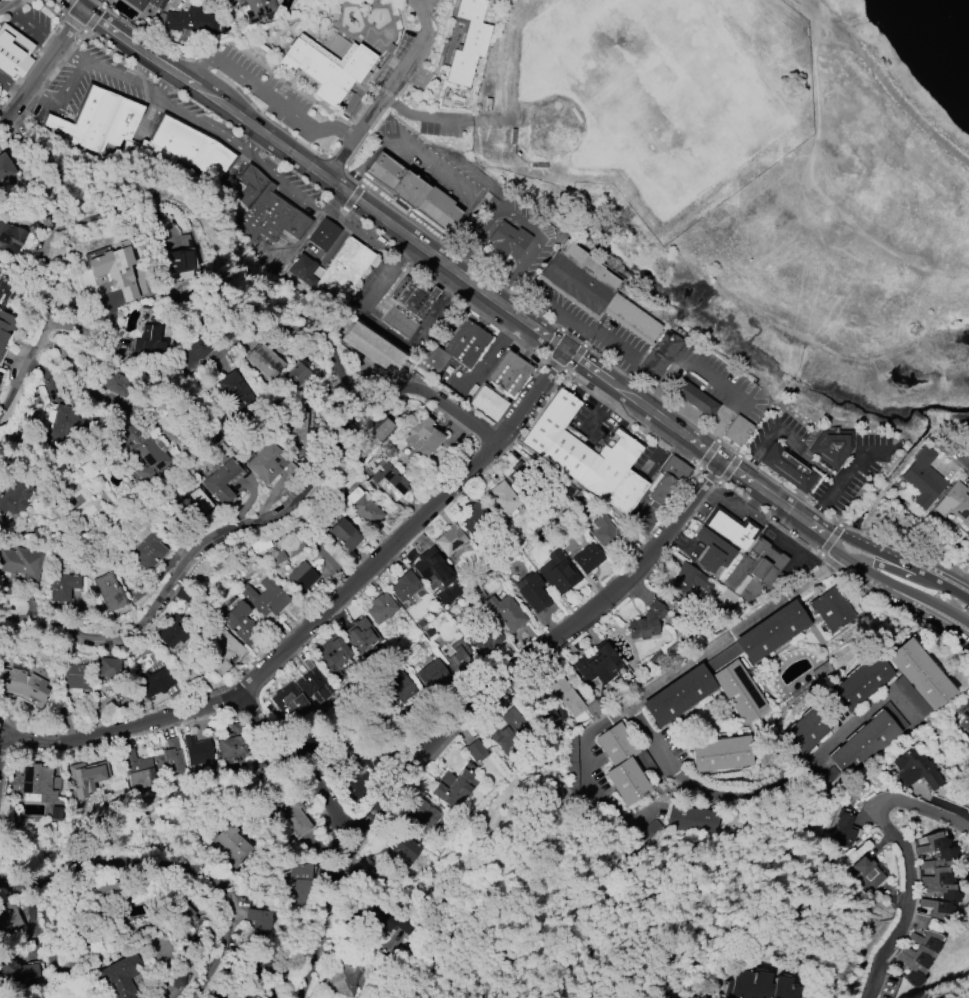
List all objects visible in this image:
road: (4, 2)
building: (142, 3)
road: (426, 3)
road: (77, 5)
building: (257, 9)
building: (186, 23)
road: (31, 26)
river: (946, 30)
building: (467, 42)
building: (13, 52)
building: (327, 67)
road: (44, 70)
road: (161, 80)
road: (13, 86)
road: (885, 86)
park: (659, 87)
road: (64, 92)
road: (387, 92)
road: (266, 94)
road: (423, 118)
road: (202, 121)
building: (93, 135)
road: (242, 158)
road: (427, 166)
building: (5, 168)
road: (813, 185)
building: (411, 191)
road: (355, 199)
road: (339, 204)
building: (264, 210)
road: (345, 213)
road: (342, 220)
road: (523, 222)
building: (43, 224)
building: (323, 235)
road: (367, 236)
building: (9, 237)
building: (504, 244)
building: (178, 262)
road: (45, 265)
building: (113, 268)
building: (333, 272)
road: (454, 274)
road: (222, 277)
building: (596, 292)
building: (408, 306)
road: (560, 312)
road: (456, 315)
road: (384, 329)
building: (2, 338)
road: (607, 339)
building: (149, 342)
building: (468, 344)
building: (372, 348)
building: (191, 353)
road: (333, 356)
building: (655, 359)
building: (264, 361)
road: (483, 362)
building: (508, 373)
building: (296, 375)
building: (0, 376)
building: (116, 385)
building: (235, 391)
road: (734, 396)
building: (693, 398)
road: (431, 399)
building: (487, 403)
road: (598, 411)
building: (48, 417)
building: (62, 421)
building: (294, 426)
building: (737, 431)
building: (375, 434)
building: (420, 436)
road: (766, 438)
building: (831, 446)
road: (659, 450)
building: (144, 453)
building: (586, 455)
road: (965, 460)
building: (265, 461)
building: (788, 468)
road: (842, 478)
building: (922, 478)
building: (220, 480)
building: (667, 480)
building: (388, 482)
building: (13, 495)
building: (501, 501)
building: (197, 503)
road: (757, 505)
building: (954, 506)
building: (363, 507)
building: (473, 519)
building: (731, 527)
building: (610, 534)
building: (344, 535)
building: (450, 540)
road: (833, 542)
building: (147, 551)
building: (713, 551)
building: (277, 557)
road: (192, 558)
building: (587, 558)
road: (899, 560)
building: (21, 562)
road: (837, 566)
building: (432, 567)
building: (754, 572)
building: (557, 573)
building: (301, 577)
building: (688, 579)
road: (894, 584)
building: (62, 586)
building: (404, 586)
building: (109, 591)
building: (531, 592)
building: (477, 593)
building: (266, 599)
building: (380, 609)
building: (831, 609)
road: (907, 611)
building: (506, 612)
road: (321, 616)
building: (647, 618)
building: (241, 624)
building: (171, 631)
building: (771, 633)
building: (362, 635)
building: (483, 635)
building: (222, 650)
building: (457, 654)
building: (333, 658)
building: (107, 666)
building: (598, 666)
building: (431, 674)
building: (78, 675)
building: (915, 677)
building: (154, 681)
building: (860, 682)
building: (25, 686)
building: (314, 686)
building: (401, 687)
road: (661, 689)
building: (739, 691)
building: (565, 696)
building: (677, 696)
building: (292, 704)
road: (476, 708)
building: (965, 715)
building: (805, 731)
building: (505, 732)
road: (2, 734)
building: (867, 740)
road: (649, 742)
building: (231, 744)
road: (2, 750)
building: (198, 750)
building: (474, 750)
building: (722, 755)
building: (168, 758)
building: (625, 765)
road: (302, 767)
building: (139, 770)
building: (916, 770)
building: (87, 775)
building: (38, 784)
building: (454, 786)
road: (783, 790)
building: (292, 812)
building: (424, 813)
building: (692, 818)
building: (844, 830)
building: (231, 845)
road: (896, 847)
building: (401, 851)
road: (173, 858)
building: (865, 874)
building: (936, 876)
building: (300, 881)
building: (379, 918)
building: (9, 919)
building: (257, 920)
building: (916, 955)
building: (265, 968)
building: (17, 970)
building: (121, 976)
building: (343, 976)
building: (758, 986)
building: (66, 997)

